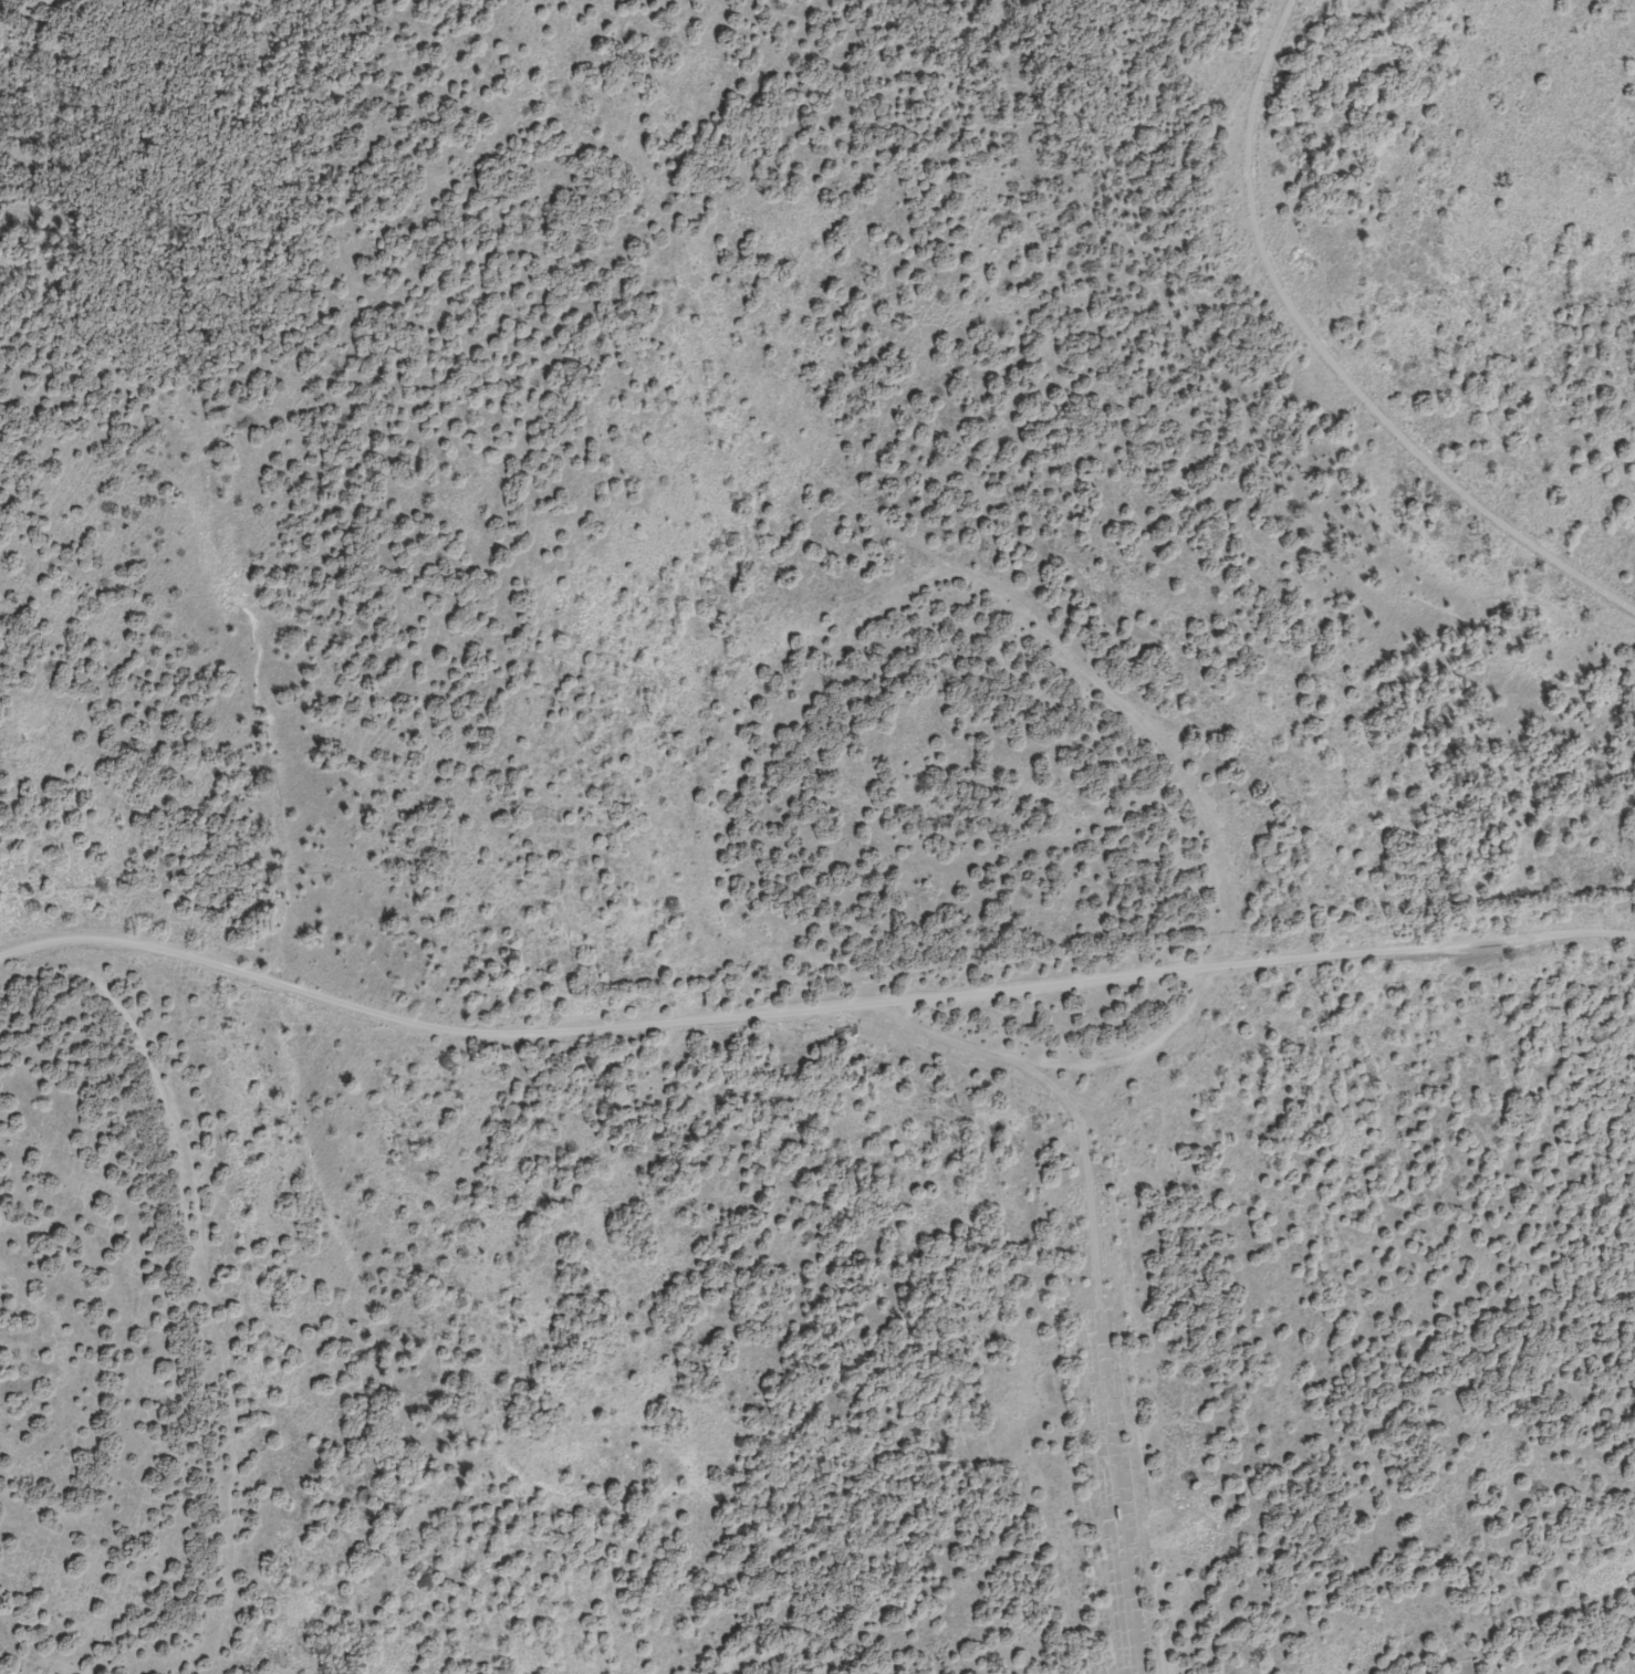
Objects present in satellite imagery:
road: (810, 1007)
road: (1147, 1049)
road: (1096, 1275)

